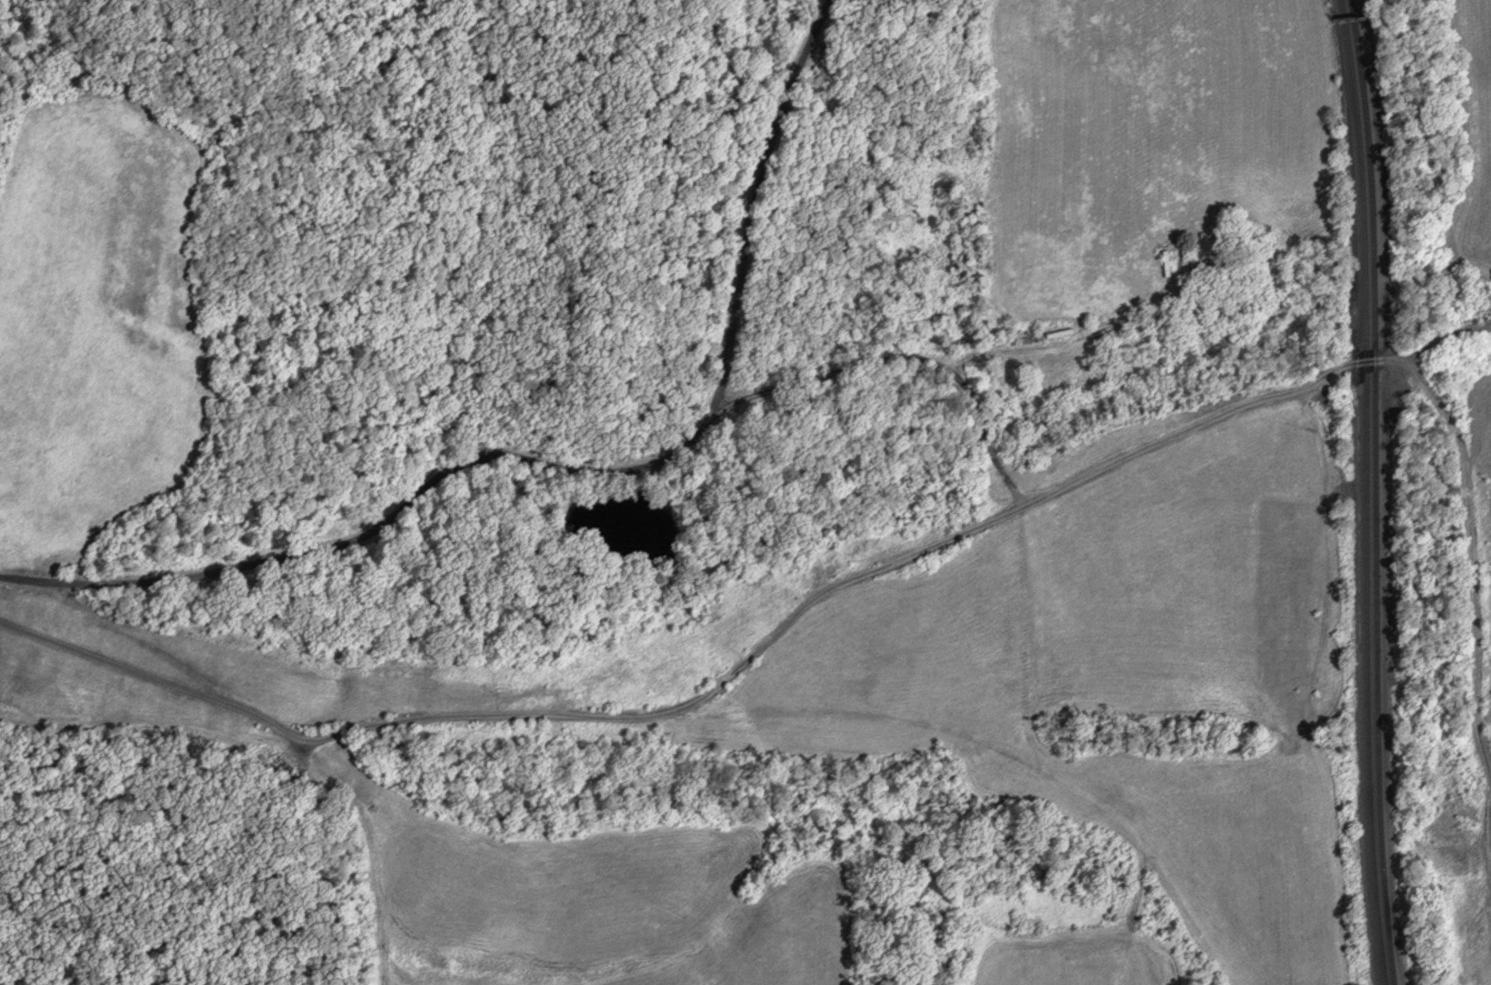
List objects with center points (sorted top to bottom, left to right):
railway: (1367, 492)
railway: (1376, 492)

